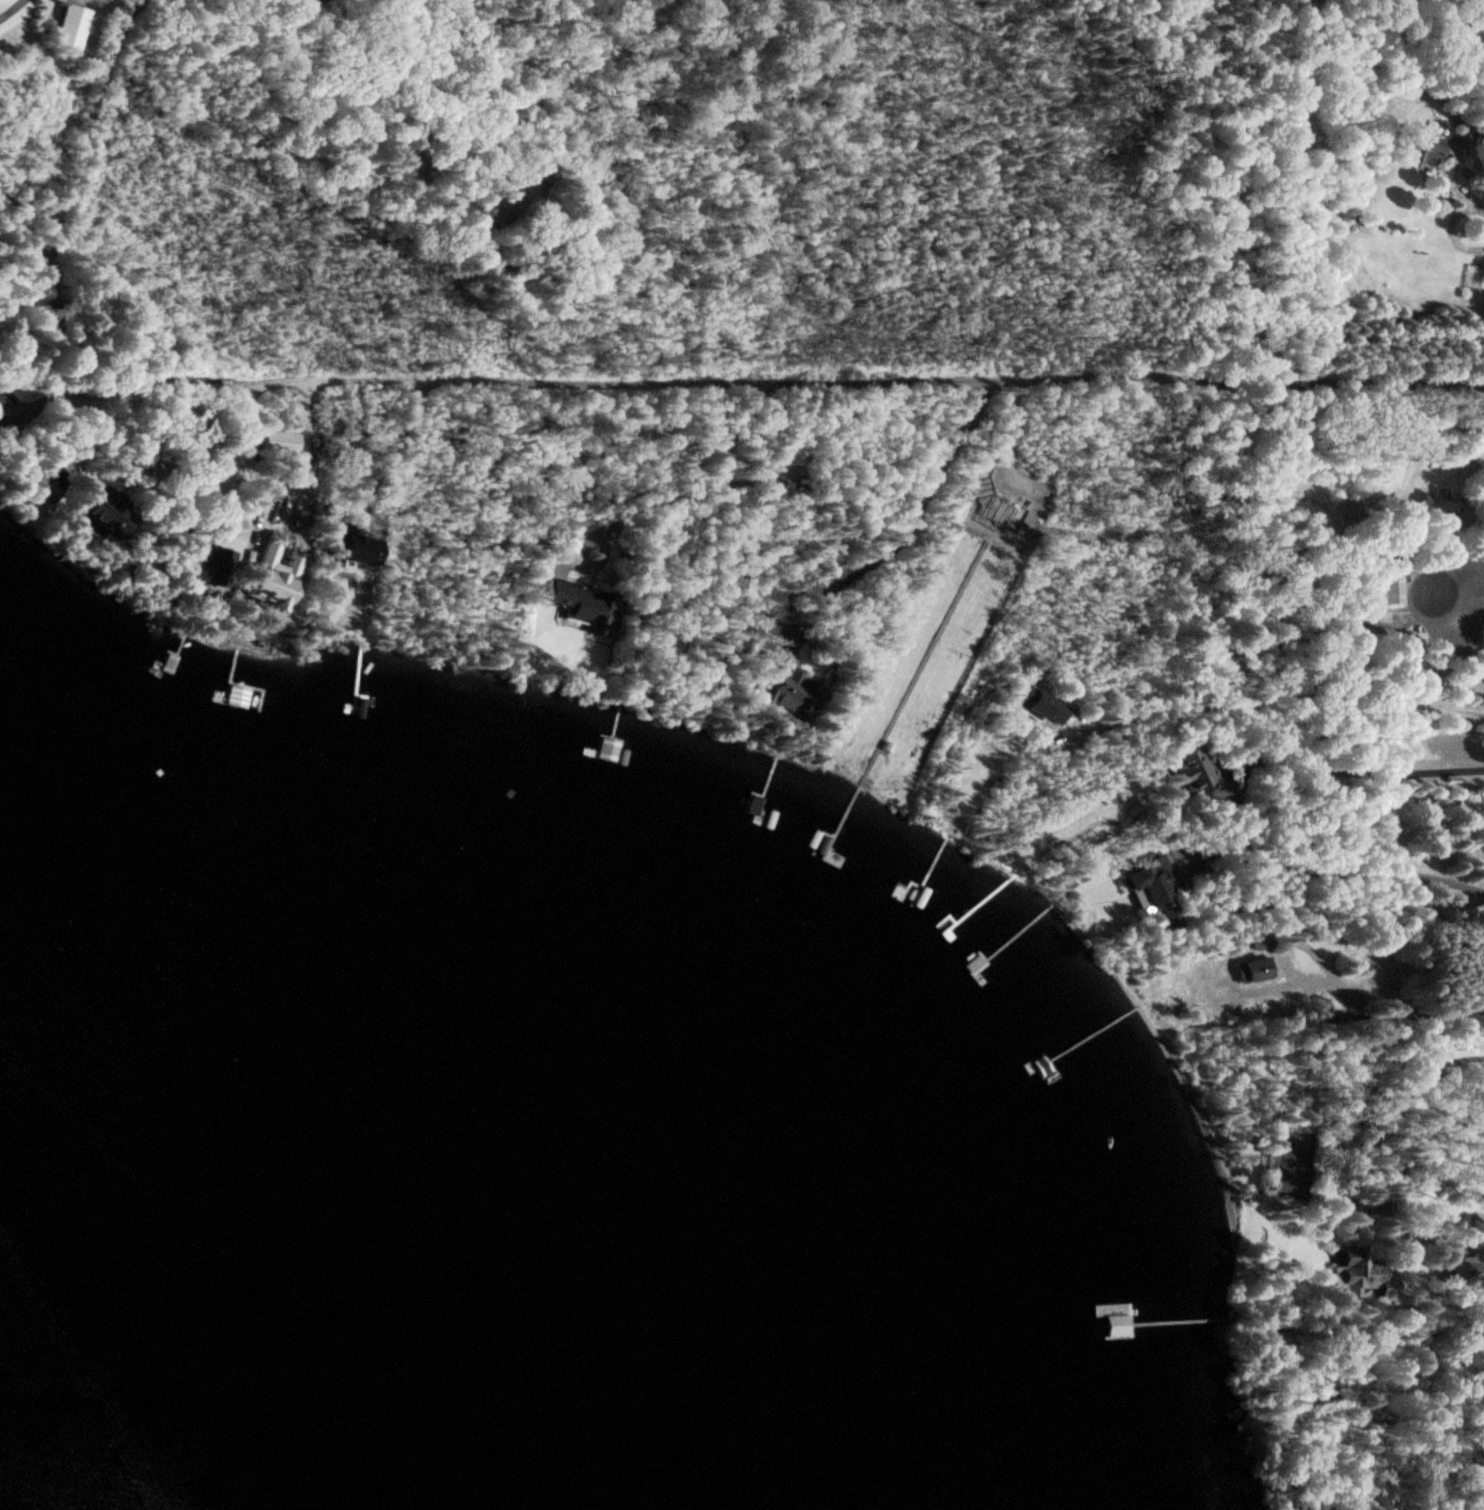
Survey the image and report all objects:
building: (325, 1)
building: (70, 26)
building: (1459, 136)
building: (1423, 142)
road: (807, 378)
building: (6, 427)
building: (280, 442)
building: (785, 453)
building: (41, 483)
building: (359, 552)
building: (209, 567)
building: (1390, 587)
building: (574, 601)
building: (795, 691)
building: (1042, 703)
building: (1194, 771)
road: (1365, 771)
building: (1155, 884)
building: (1255, 969)
road: (1393, 1052)
building: (1358, 1273)
building: (1101, 1325)

